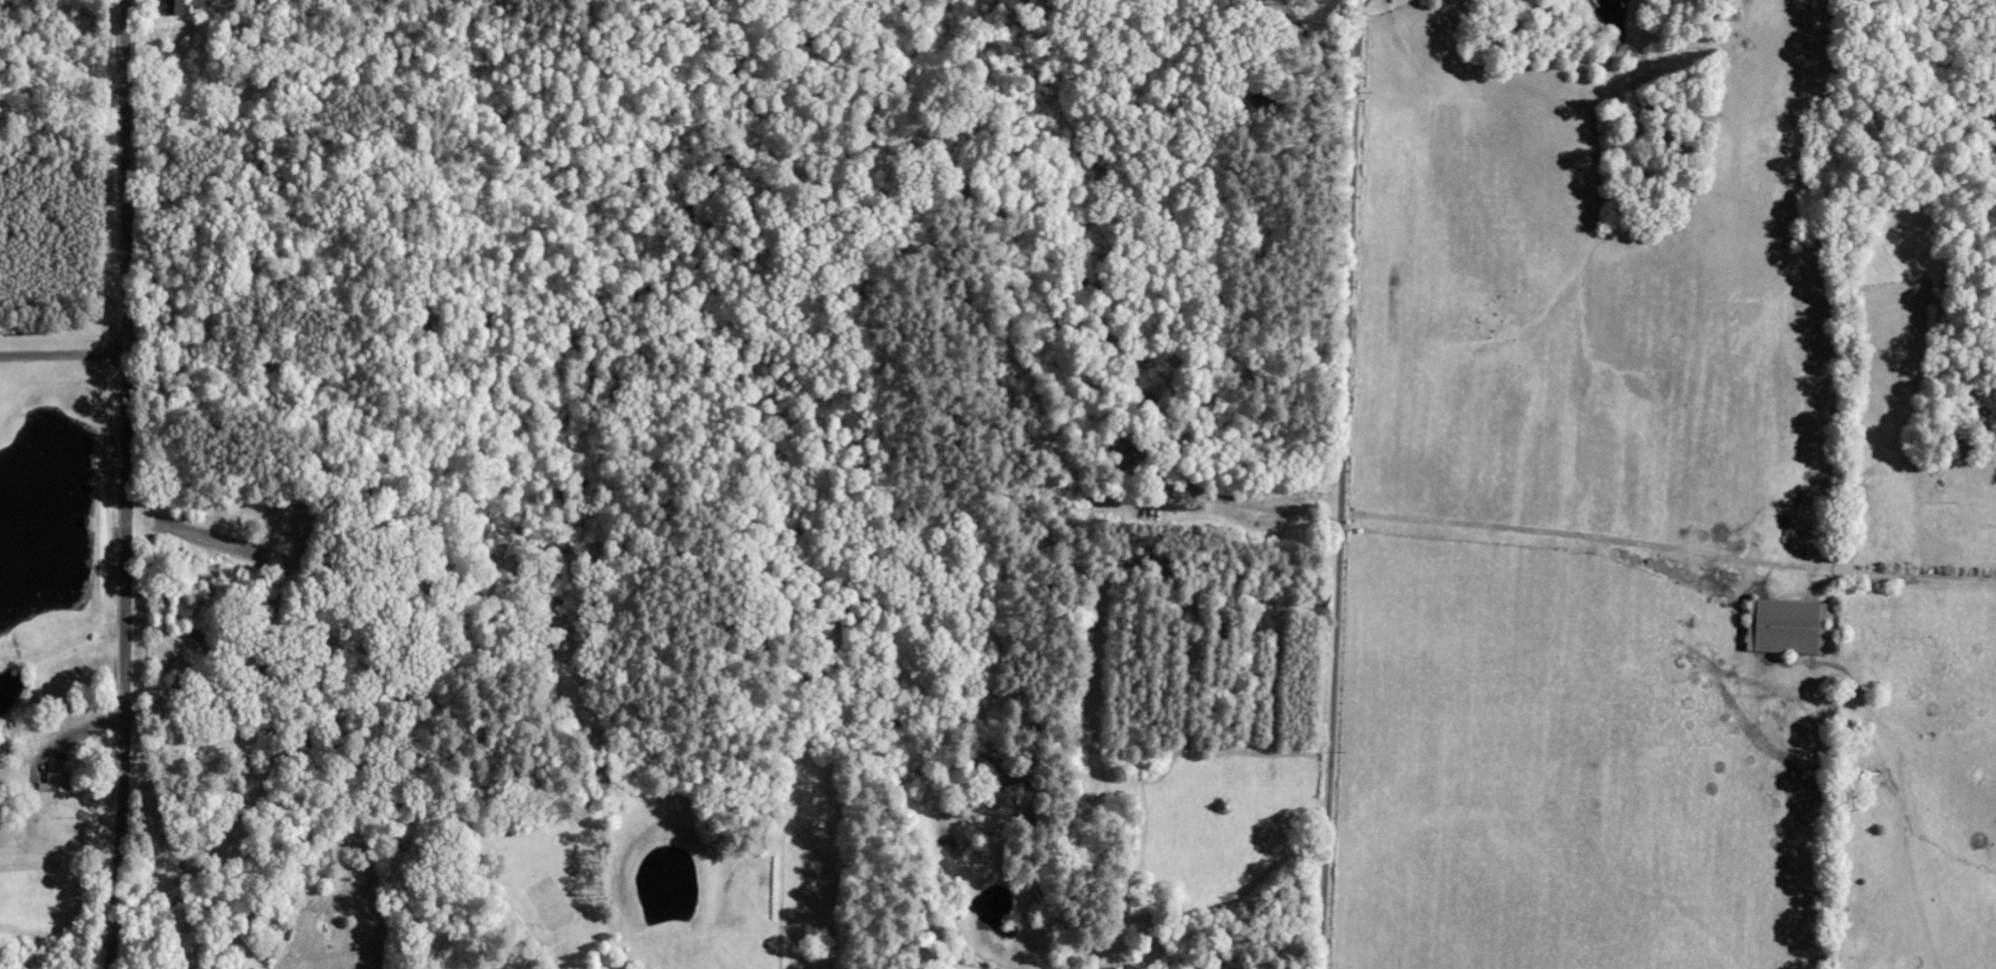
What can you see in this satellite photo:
building: (178, 8)
road: (1180, 354)
road: (126, 484)
road: (1343, 484)
road: (1923, 576)
building: (1783, 629)
road: (1224, 682)
road: (736, 743)
building: (60, 778)
building: (244, 963)

